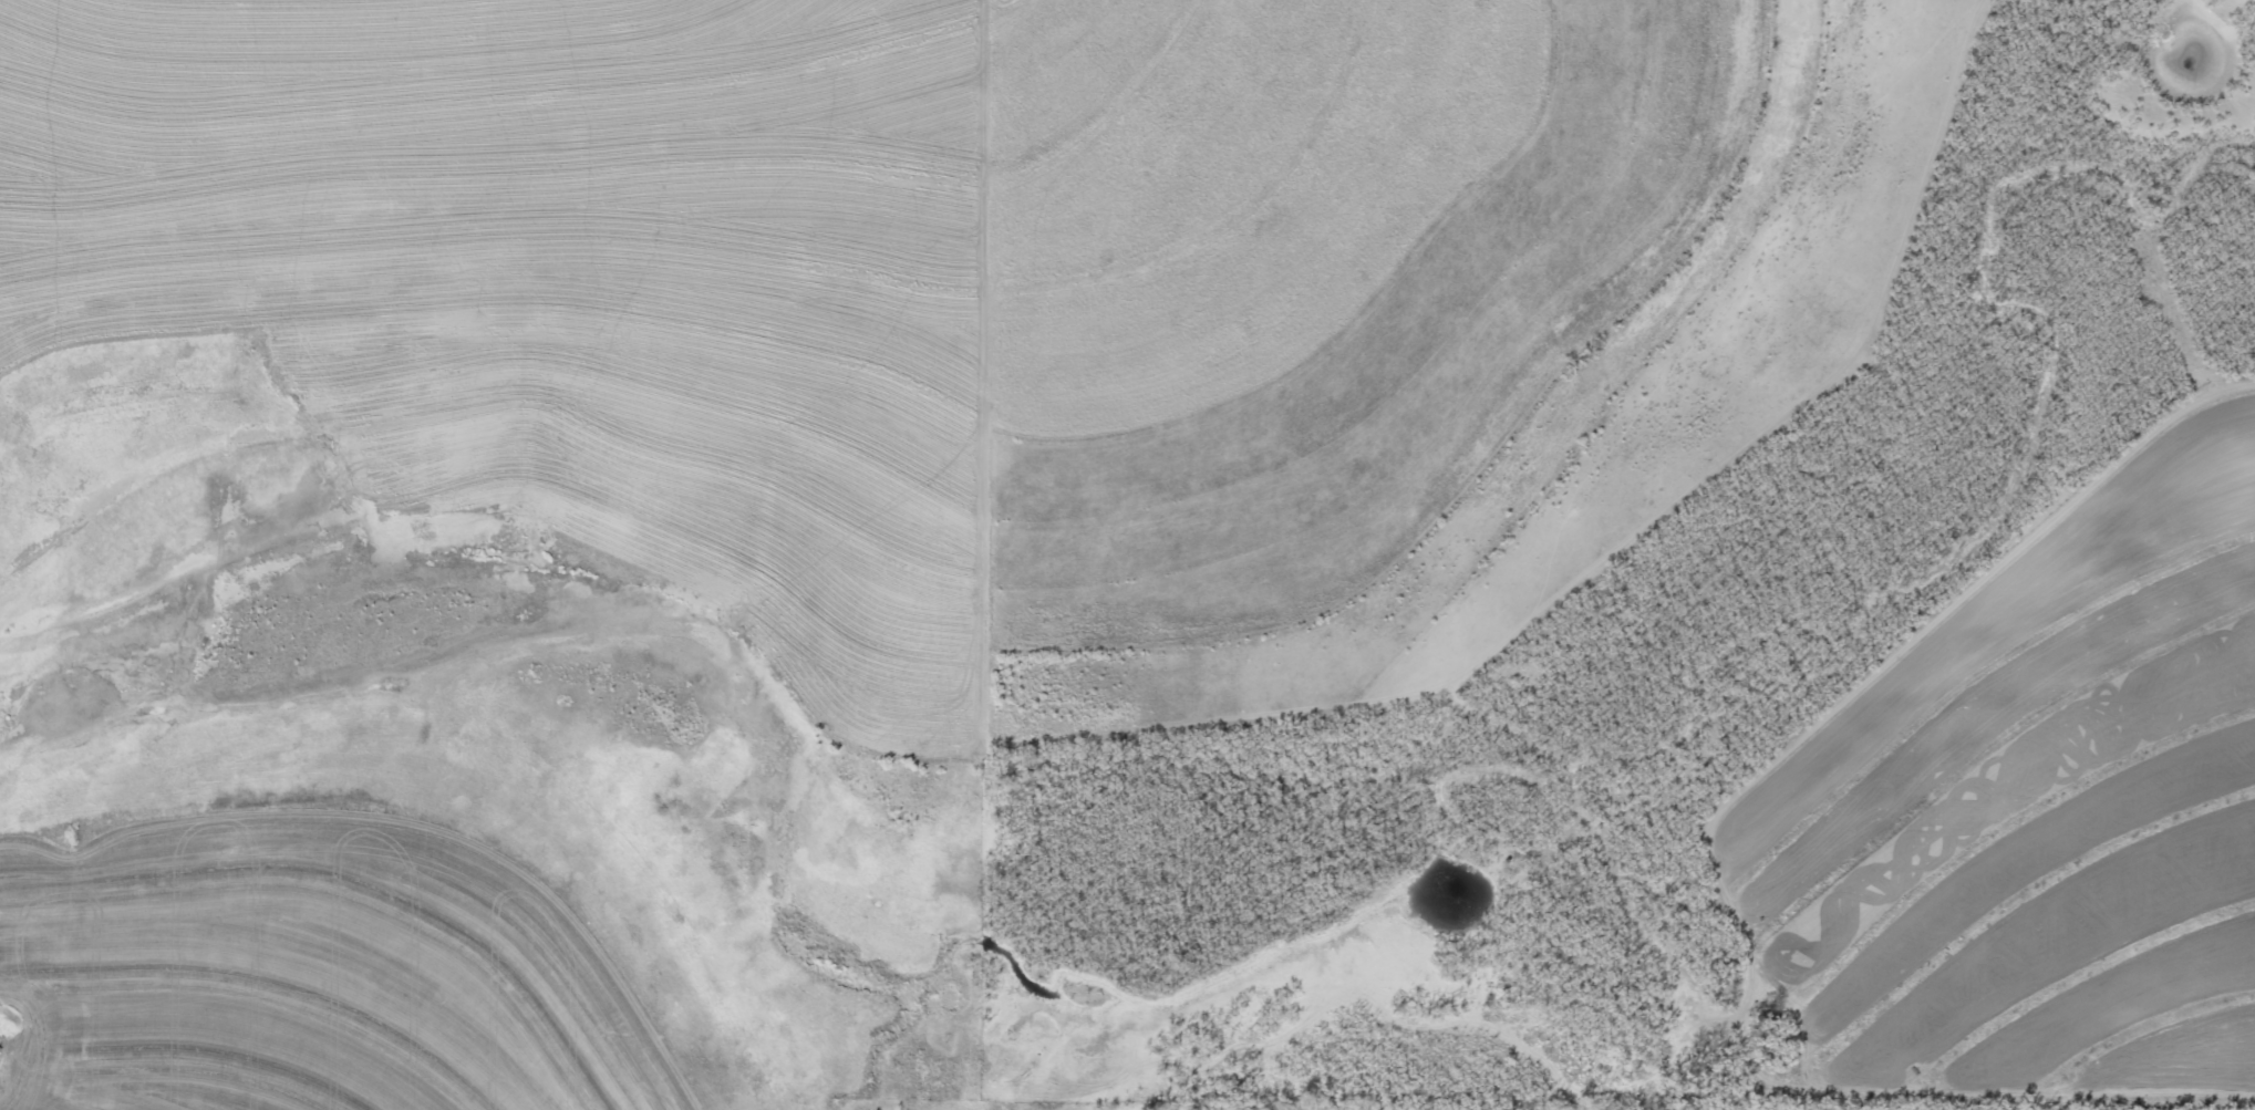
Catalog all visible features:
road: (24, 1096)

